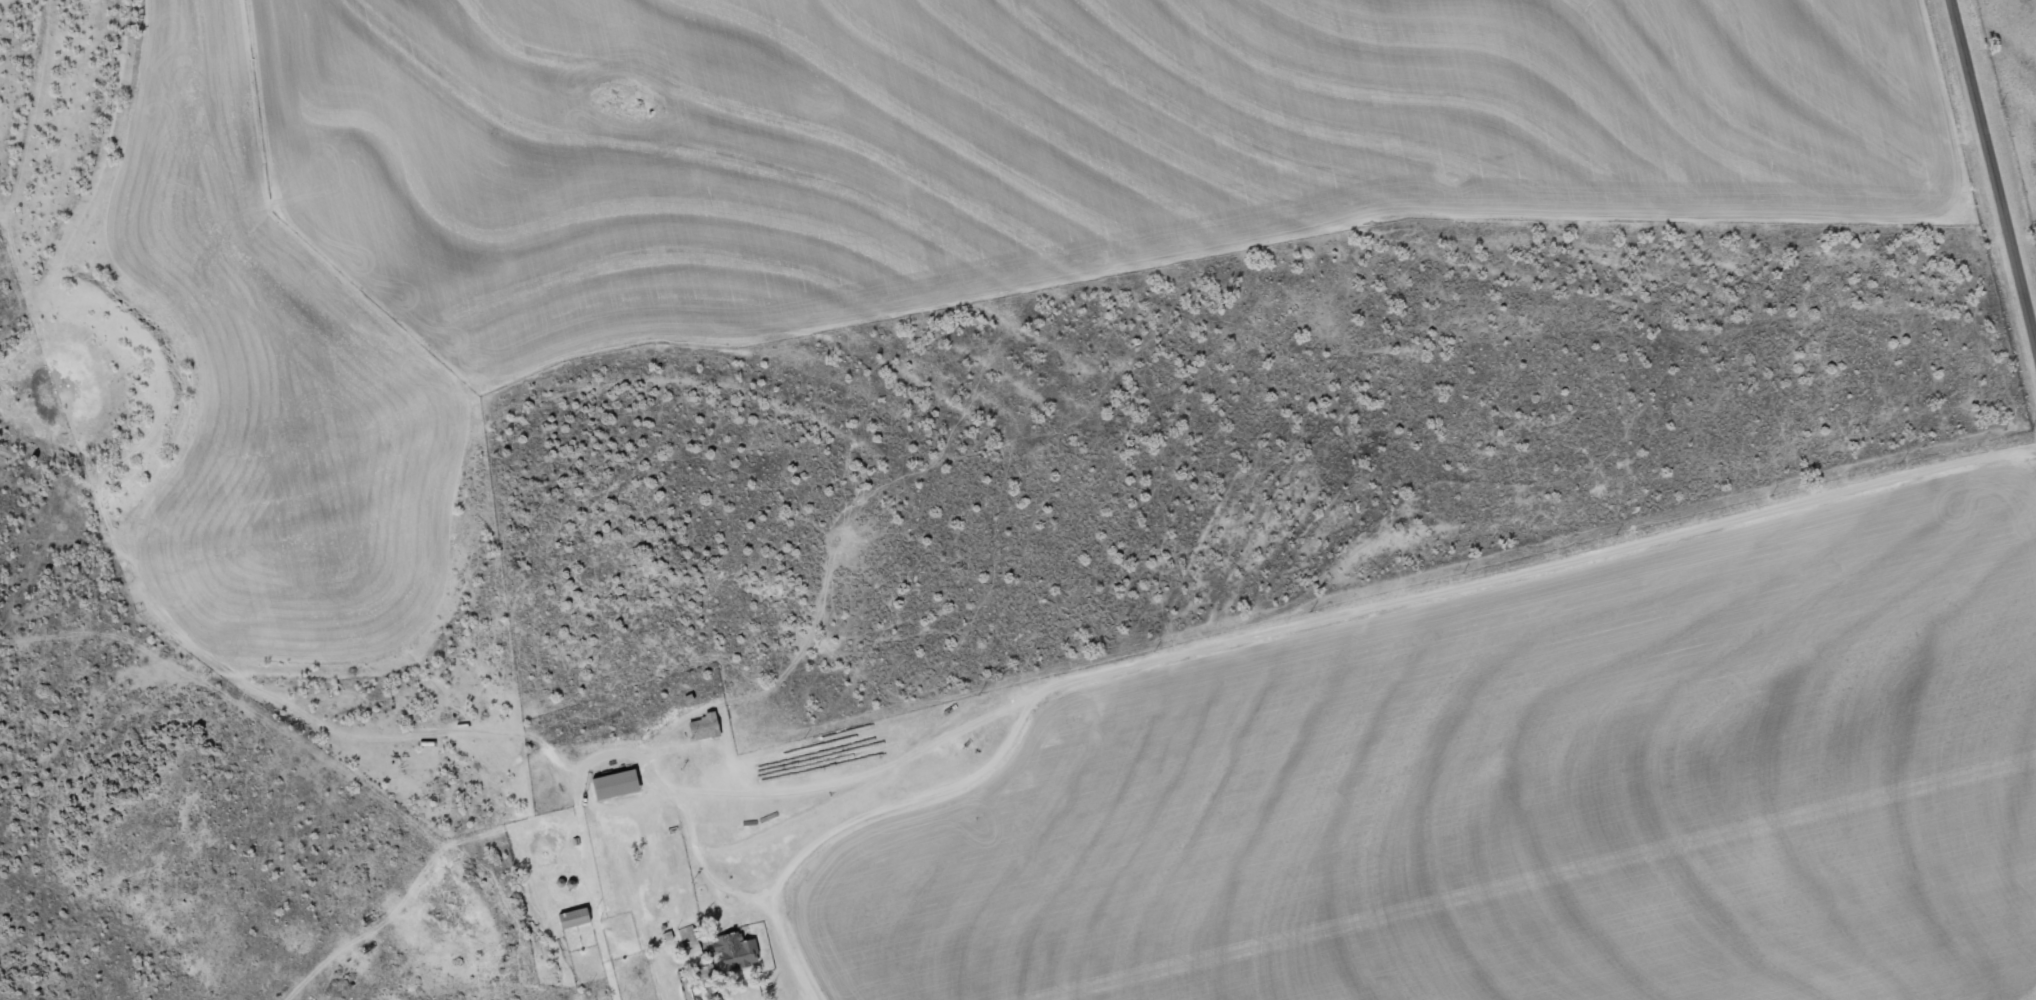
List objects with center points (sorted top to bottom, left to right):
road: (1995, 163)
road: (1075, 683)
building: (705, 726)
building: (617, 784)

